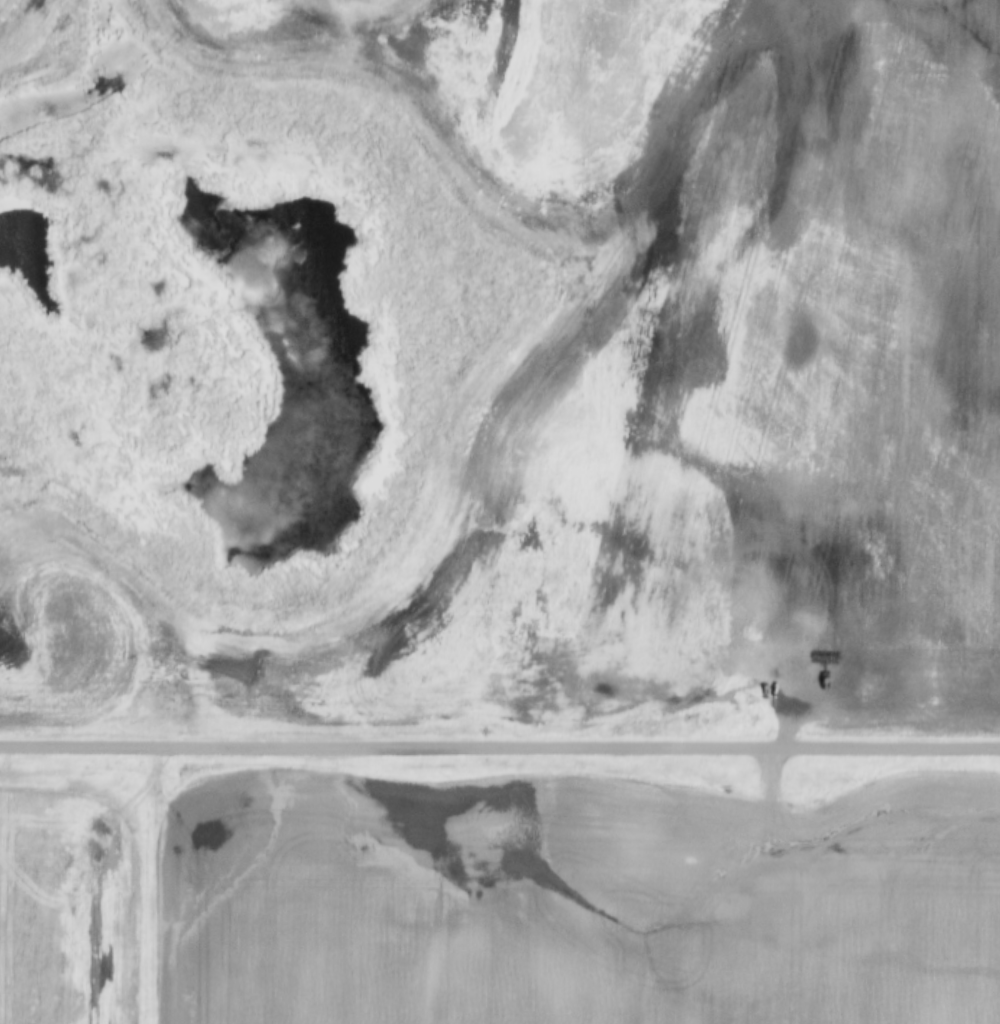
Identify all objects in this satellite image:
road: (500, 747)

